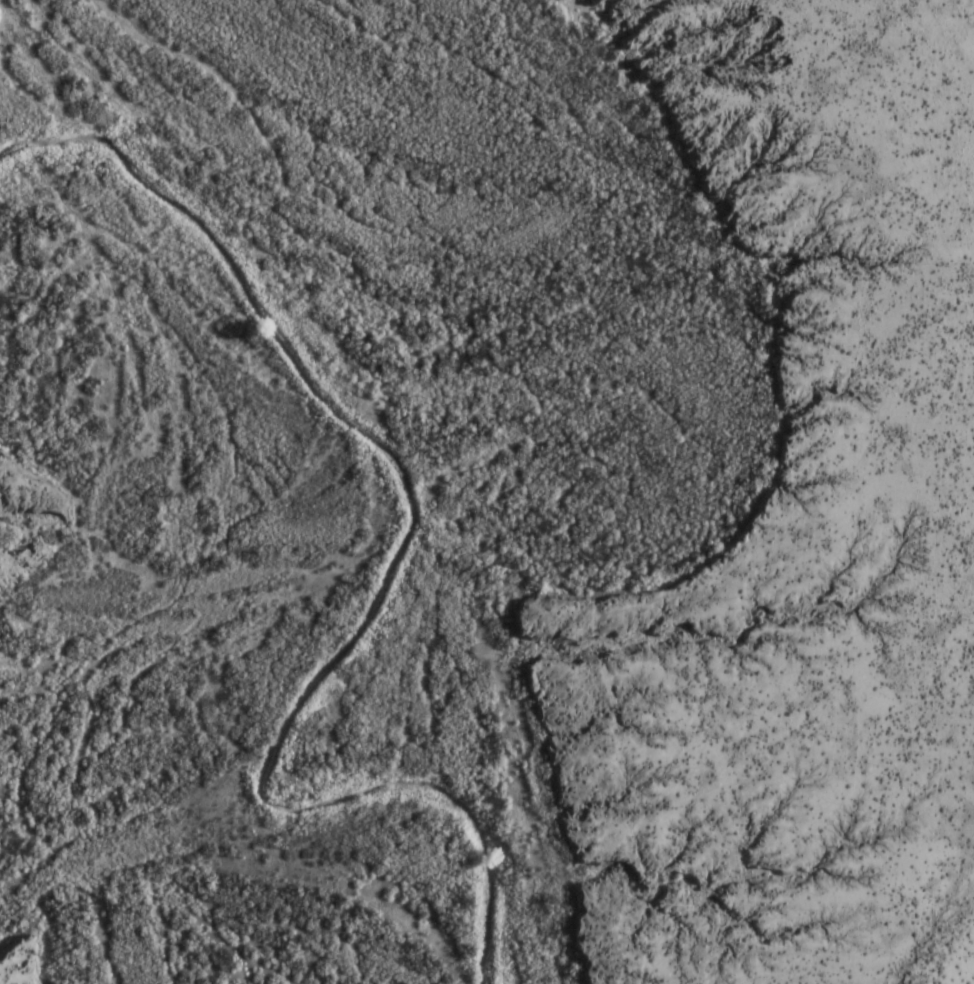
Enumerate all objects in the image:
river: (295, 475)

